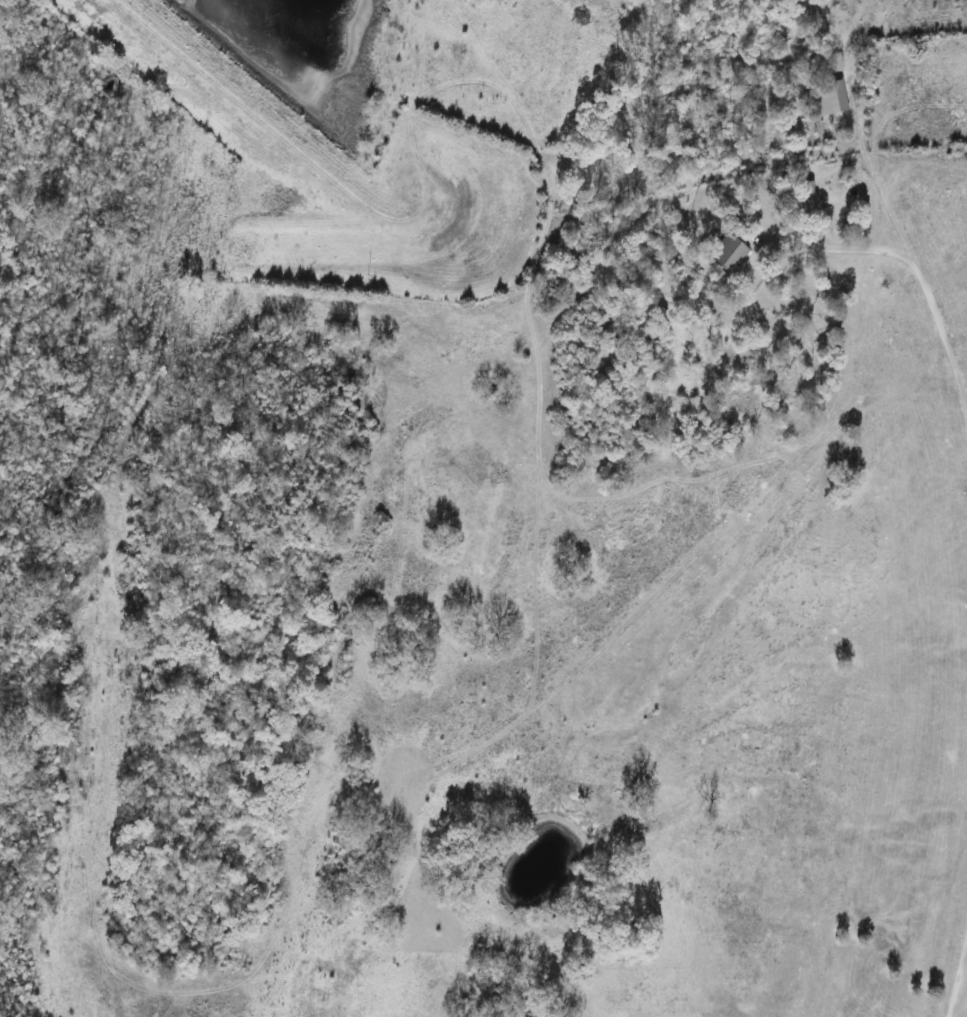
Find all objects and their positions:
building: (828, 99)
road: (840, 245)
building: (730, 253)
road: (939, 333)
road: (957, 975)

